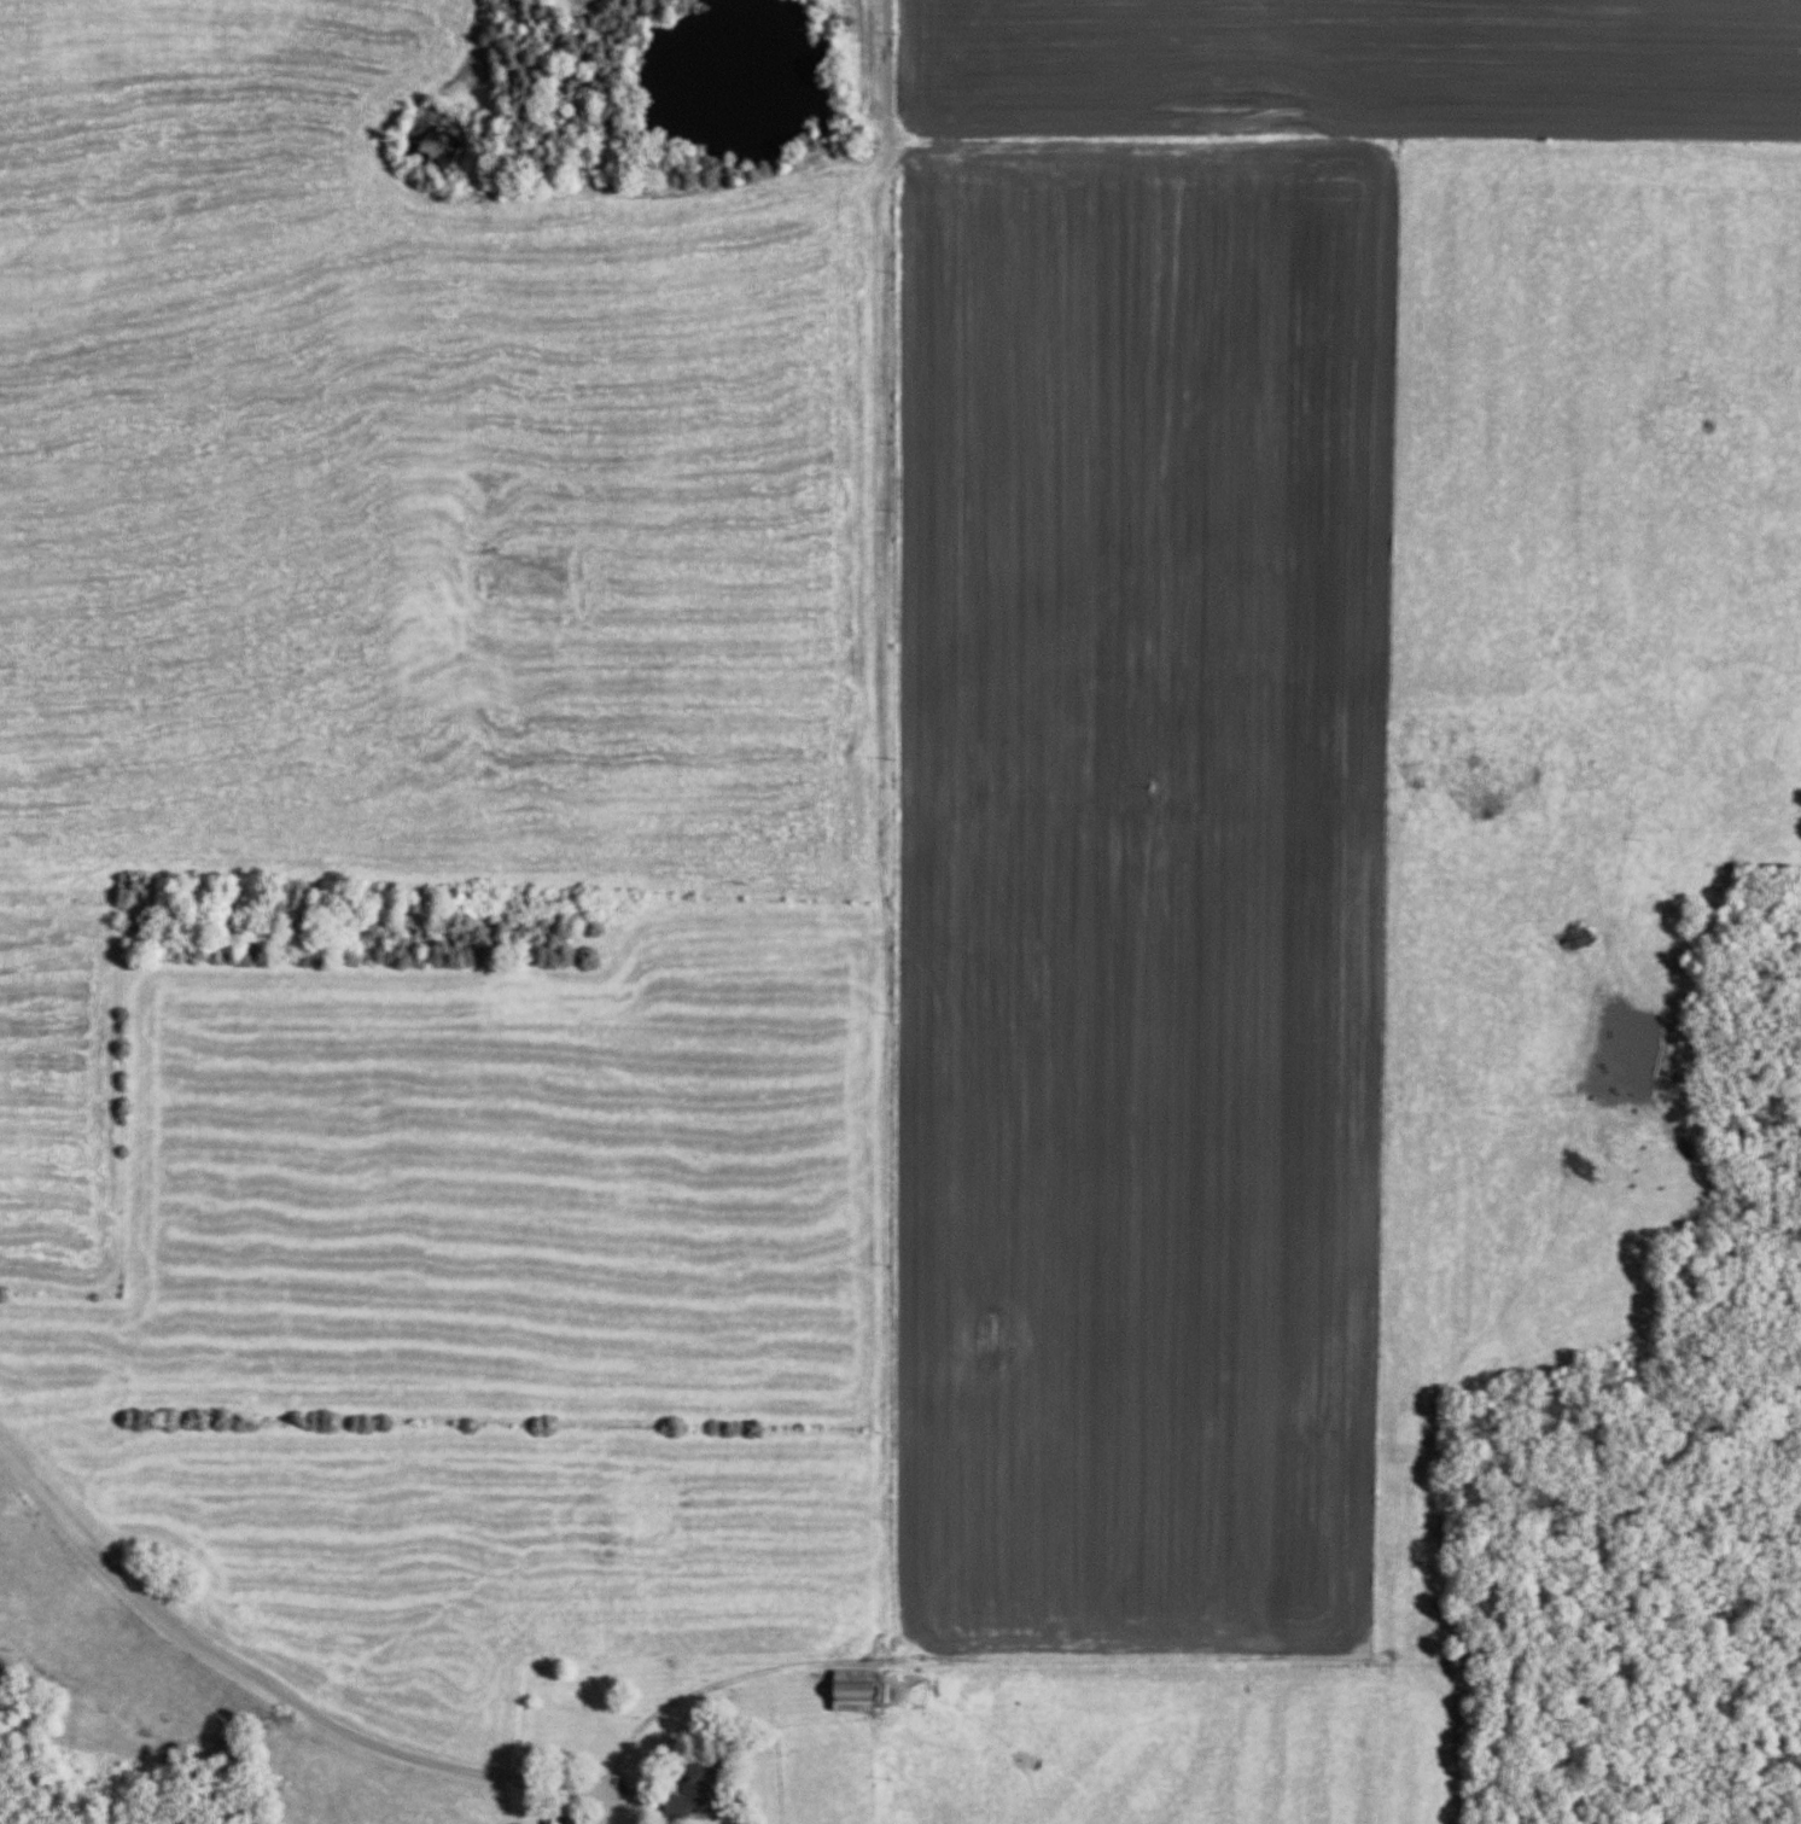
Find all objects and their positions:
building: (846, 1691)
road: (274, 1692)
building: (688, 1791)
building: (546, 1820)
building: (573, 1820)

